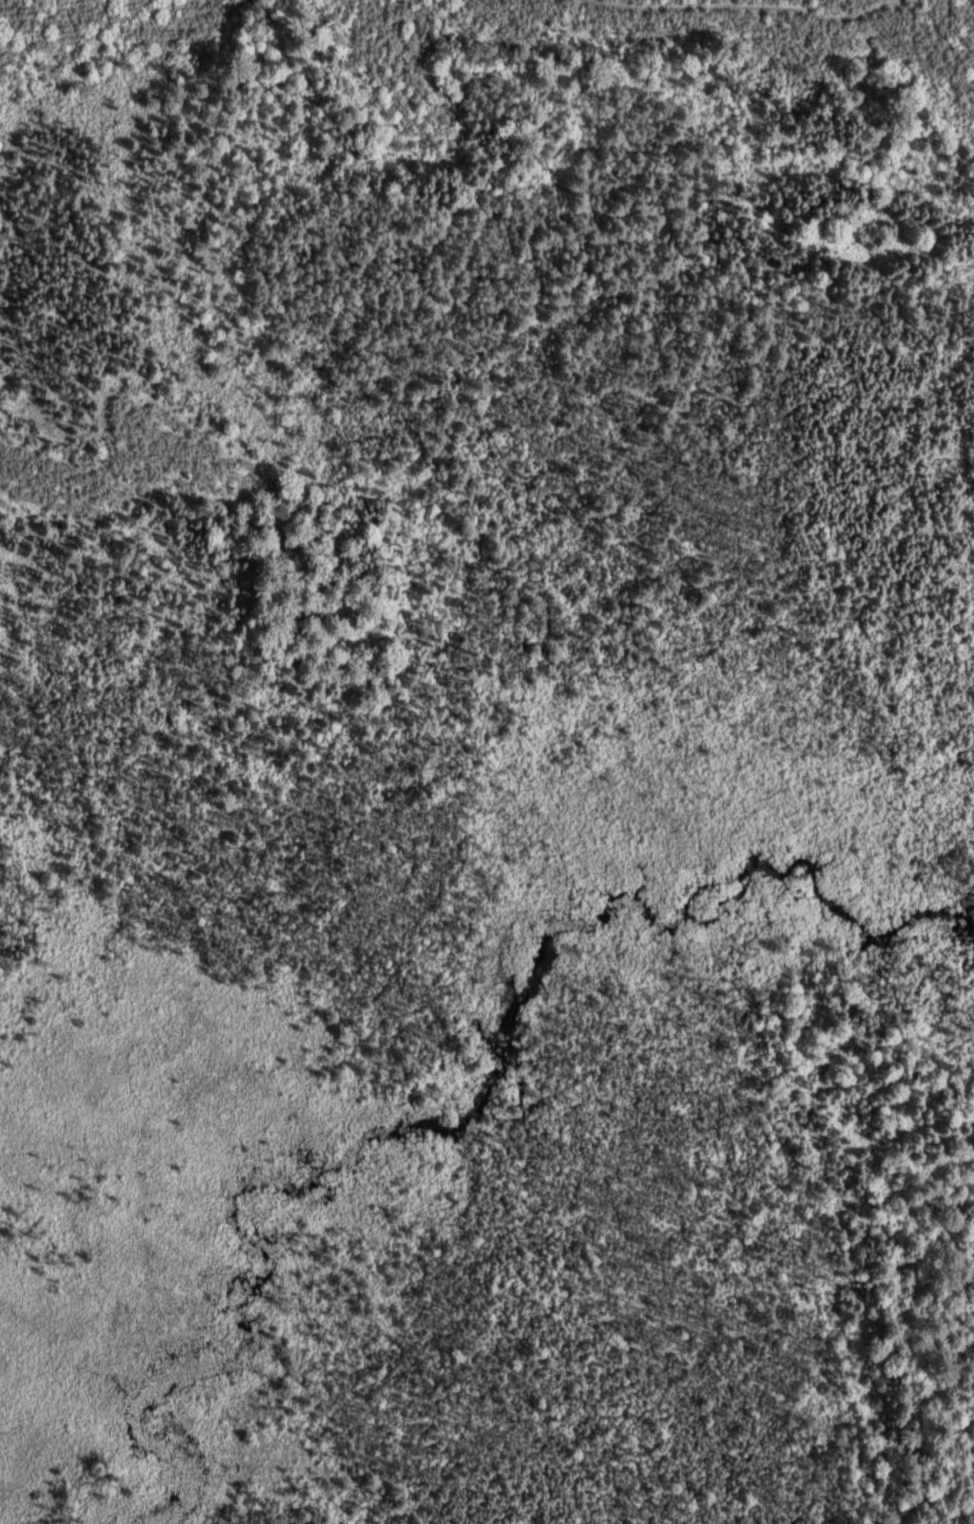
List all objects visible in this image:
road: (715, 0)

